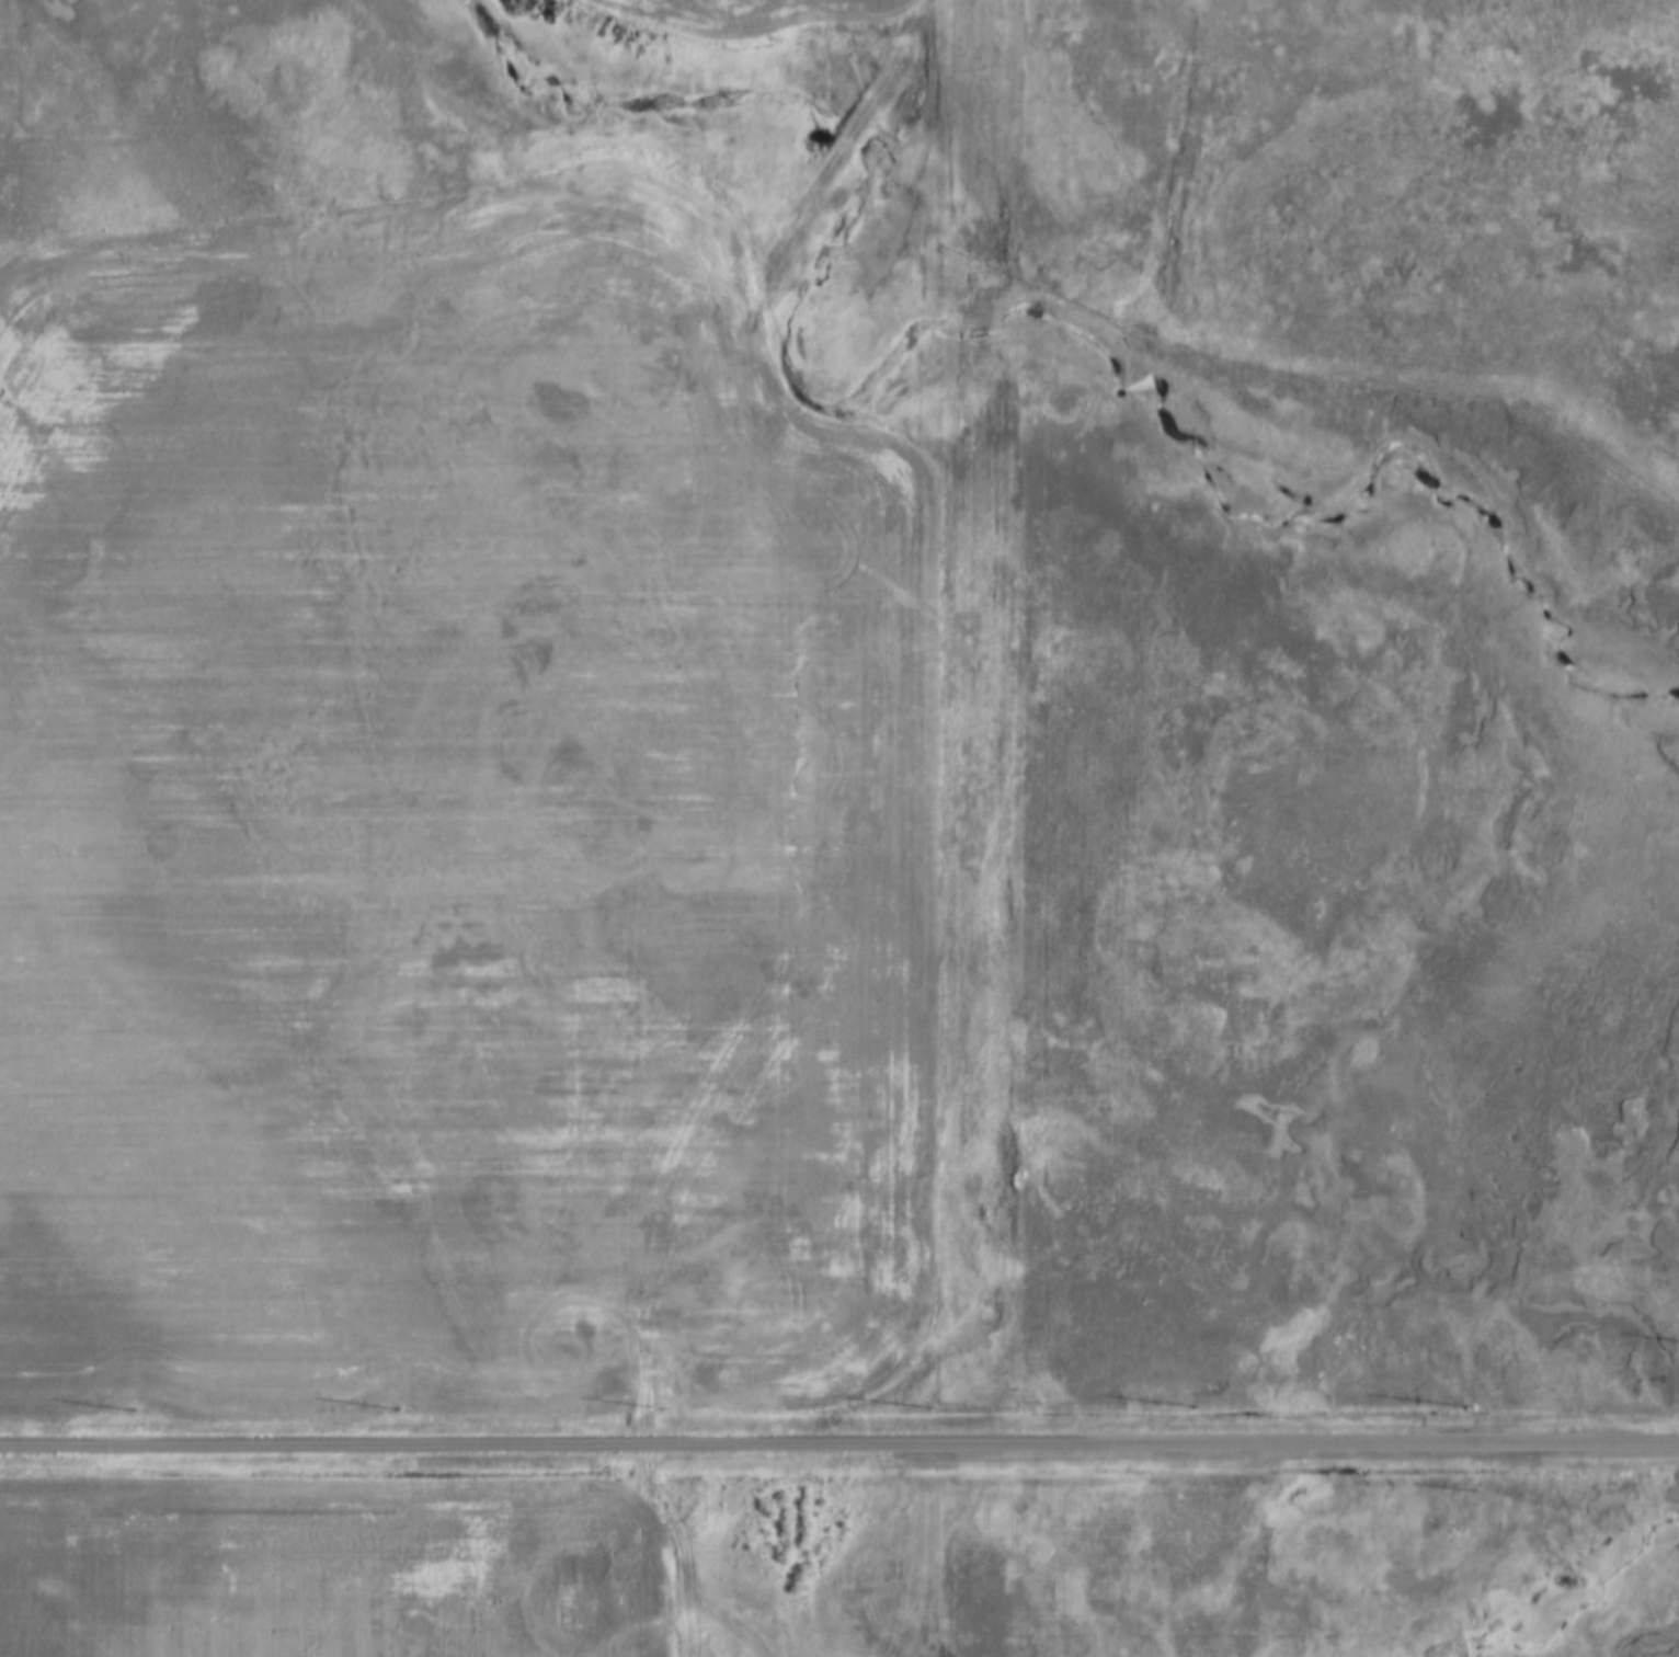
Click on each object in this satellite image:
road: (644, 1426)
road: (838, 1440)

